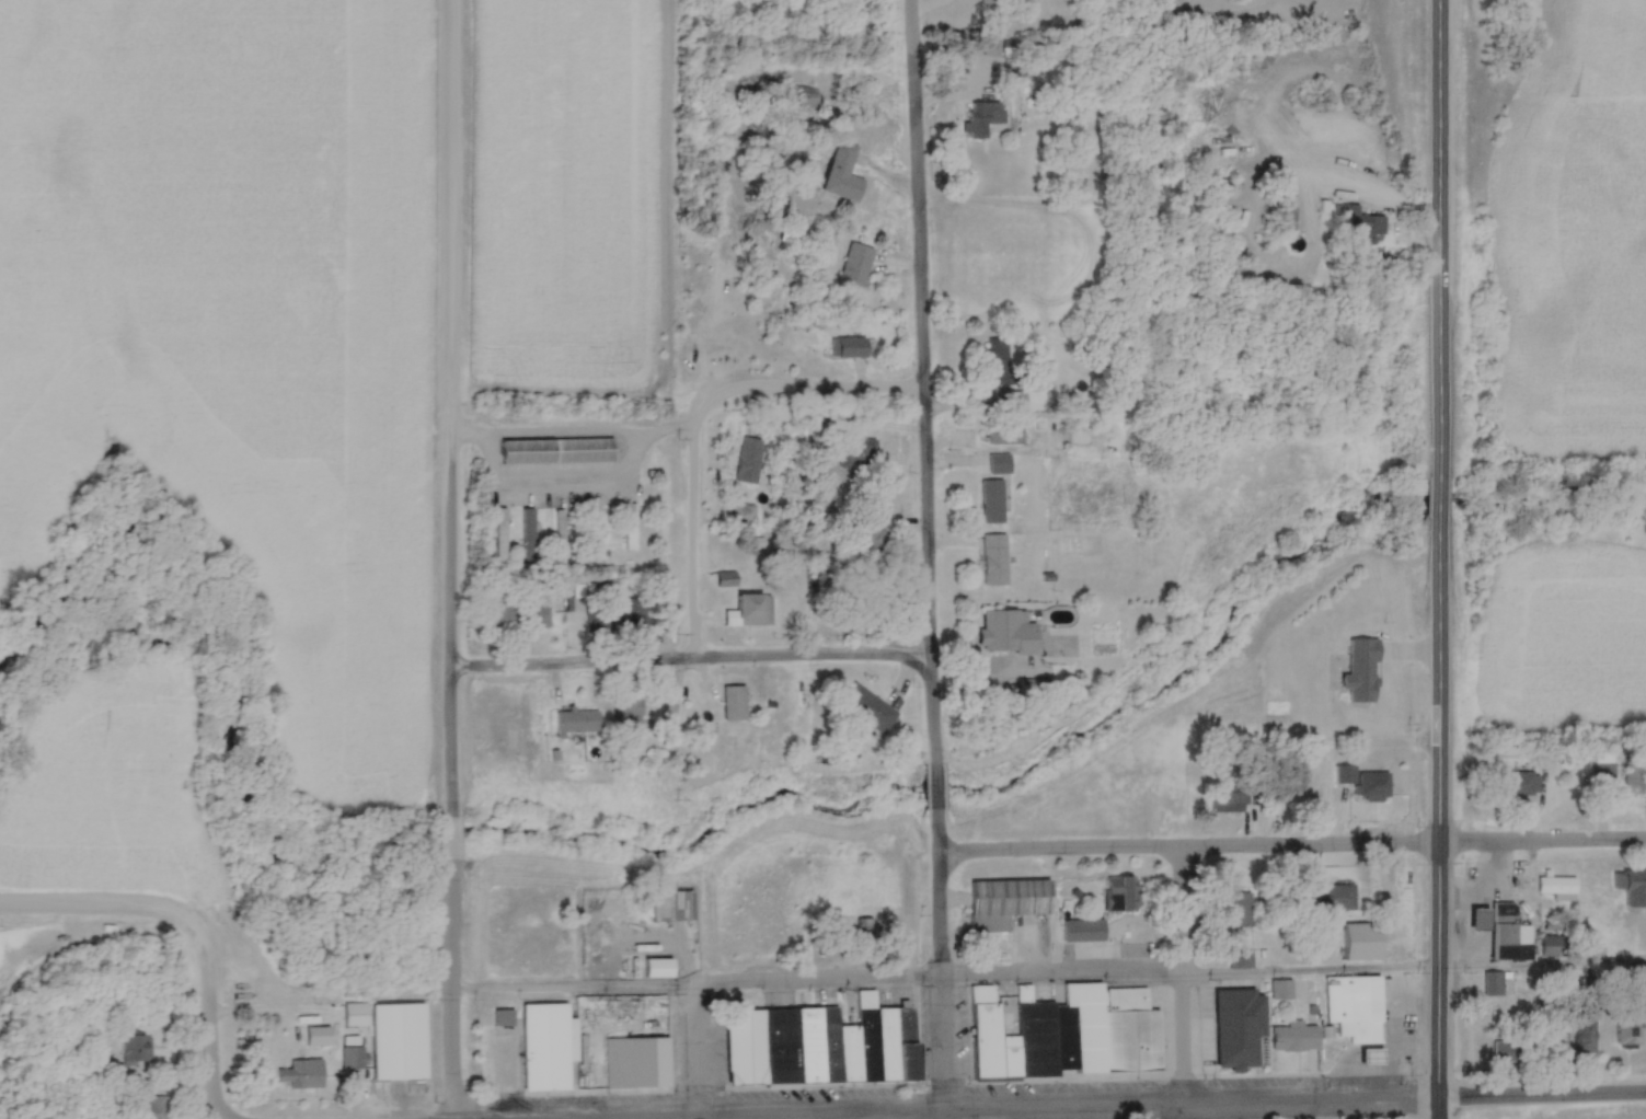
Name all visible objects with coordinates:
building: (990, 1)
building: (989, 46)
building: (1015, 69)
building: (806, 97)
building: (982, 117)
building: (843, 173)
crop: (561, 192)
road: (450, 204)
building: (1357, 223)
road: (1440, 234)
building: (856, 265)
building: (849, 348)
building: (998, 368)
road: (925, 378)
road: (814, 396)
building: (1016, 402)
building: (1005, 435)
building: (556, 448)
building: (857, 457)
building: (748, 461)
building: (999, 464)
road: (1440, 488)
building: (991, 496)
building: (743, 515)
building: (630, 527)
building: (560, 533)
building: (527, 534)
building: (595, 534)
building: (500, 535)
building: (868, 535)
road: (693, 537)
building: (994, 559)
building: (753, 607)
road: (450, 612)
building: (515, 613)
building: (632, 615)
building: (1009, 633)
road: (691, 662)
building: (1361, 671)
building: (734, 704)
building: (867, 708)
building: (626, 713)
building: (576, 723)
building: (1633, 776)
building: (1602, 780)
road: (935, 781)
building: (1363, 783)
building: (1517, 784)
building: (1229, 800)
road: (1441, 804)
road: (450, 832)
road: (1543, 842)
road: (1189, 849)
building: (1556, 887)
building: (1632, 888)
building: (1119, 895)
building: (1331, 898)
road: (102, 900)
building: (1005, 903)
building: (1240, 911)
building: (1477, 919)
gas station: (1477, 919)
building: (863, 931)
building: (1083, 932)
building: (1509, 935)
building: (1362, 943)
building: (1554, 947)
building: (1241, 959)
road: (940, 961)
building: (657, 966)
road: (1171, 973)
road: (1187, 976)
road: (451, 982)
road: (574, 984)
building: (1496, 984)
building: (1281, 991)
building: (1354, 1008)
building: (355, 1015)
road: (206, 1018)
building: (503, 1018)
building: (1239, 1027)
building: (1066, 1035)
building: (1627, 1035)
building: (1294, 1037)
building: (1551, 1037)
building: (1585, 1037)
building: (399, 1040)
building: (809, 1042)
building: (541, 1045)
road: (698, 1047)
building: (136, 1049)
building: (1505, 1051)
building: (352, 1053)
building: (1371, 1057)
gas station: (1371, 1057)
building: (636, 1062)
building: (302, 1075)
road: (1544, 1096)
road: (1070, 1106)
building: (152, 1108)
road: (1442, 1109)
road: (222, 1115)
road: (559, 1116)
road: (700, 1117)

